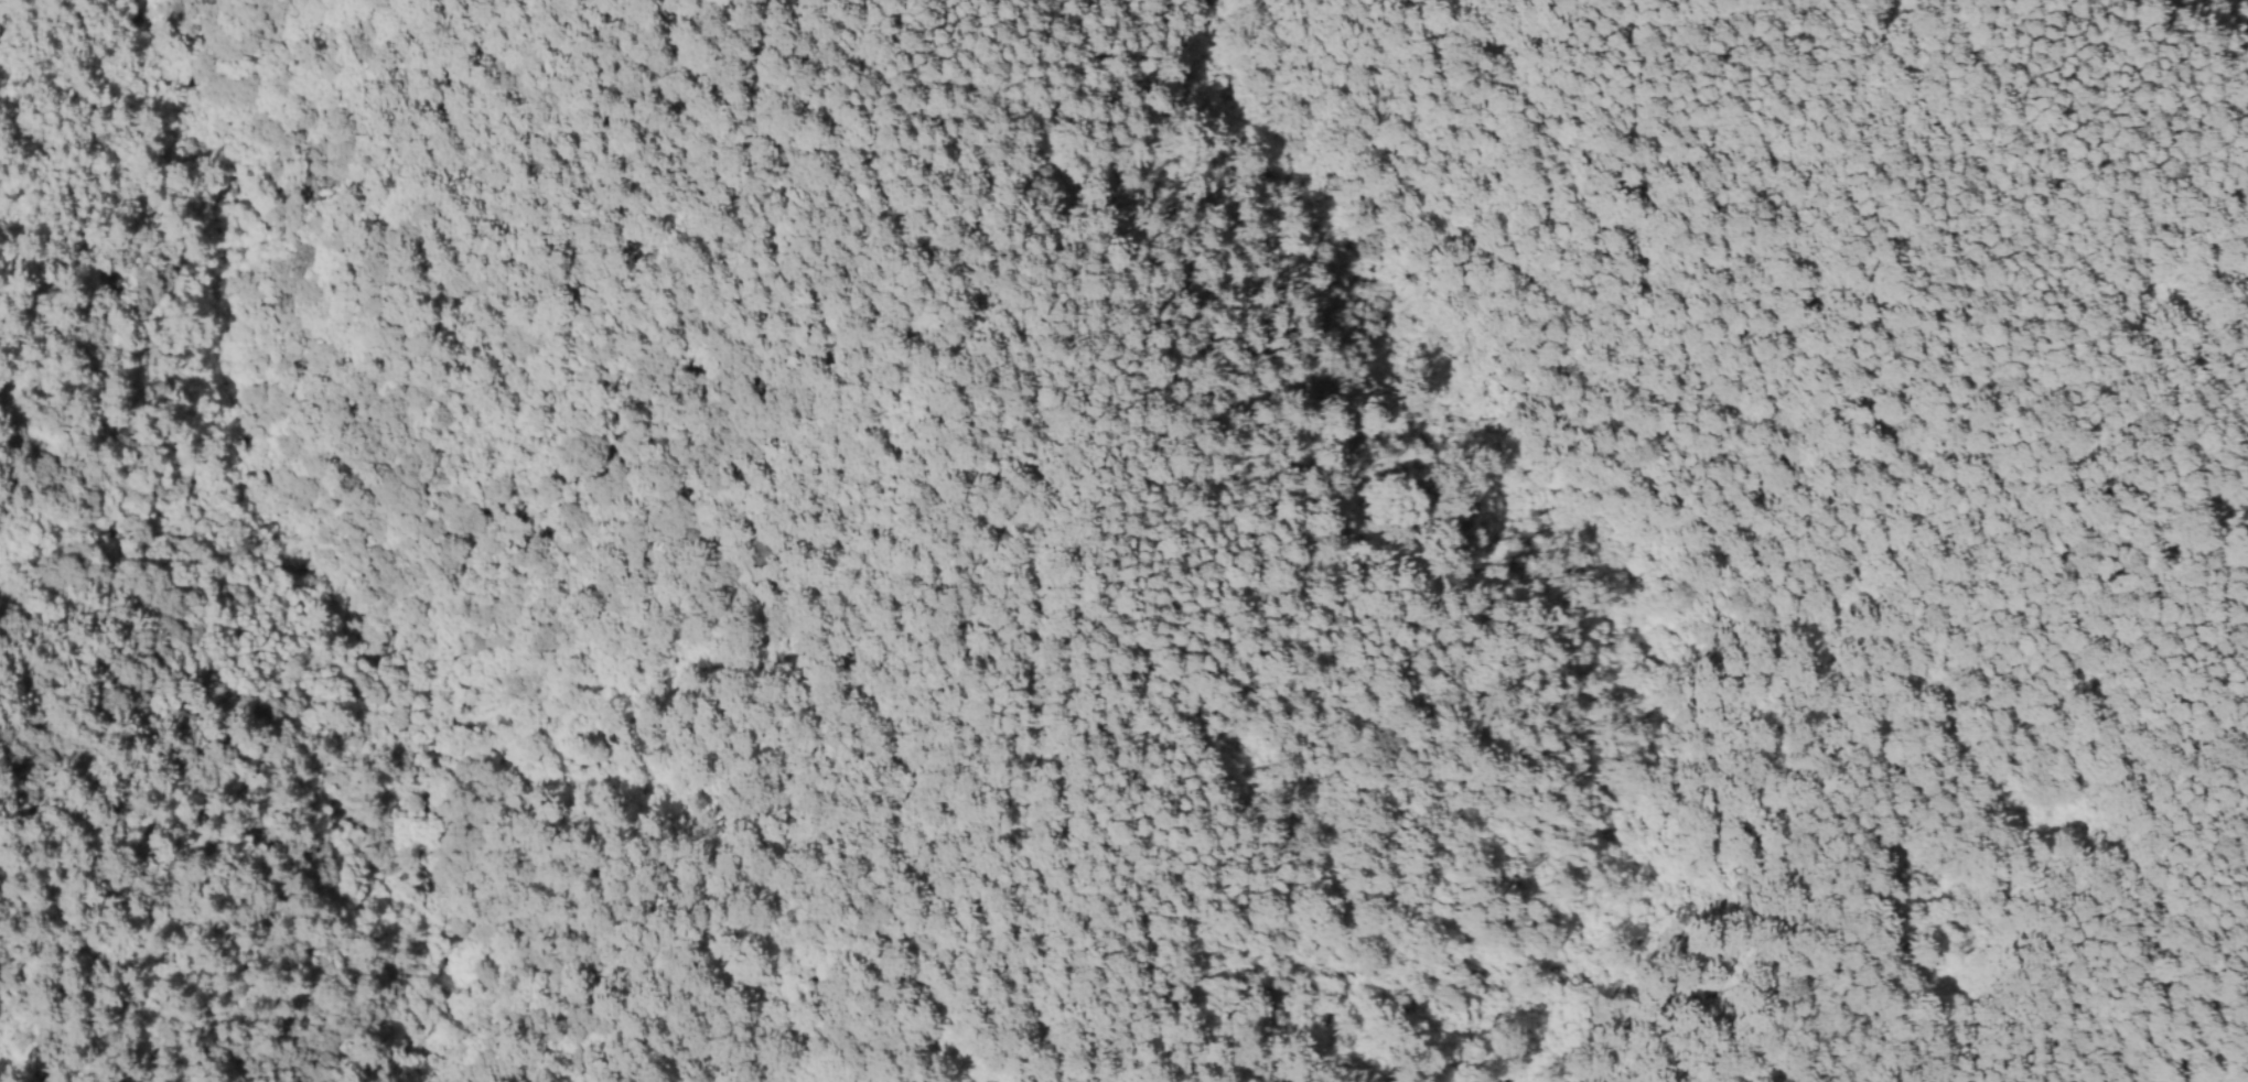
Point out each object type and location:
road: (2093, 237)

